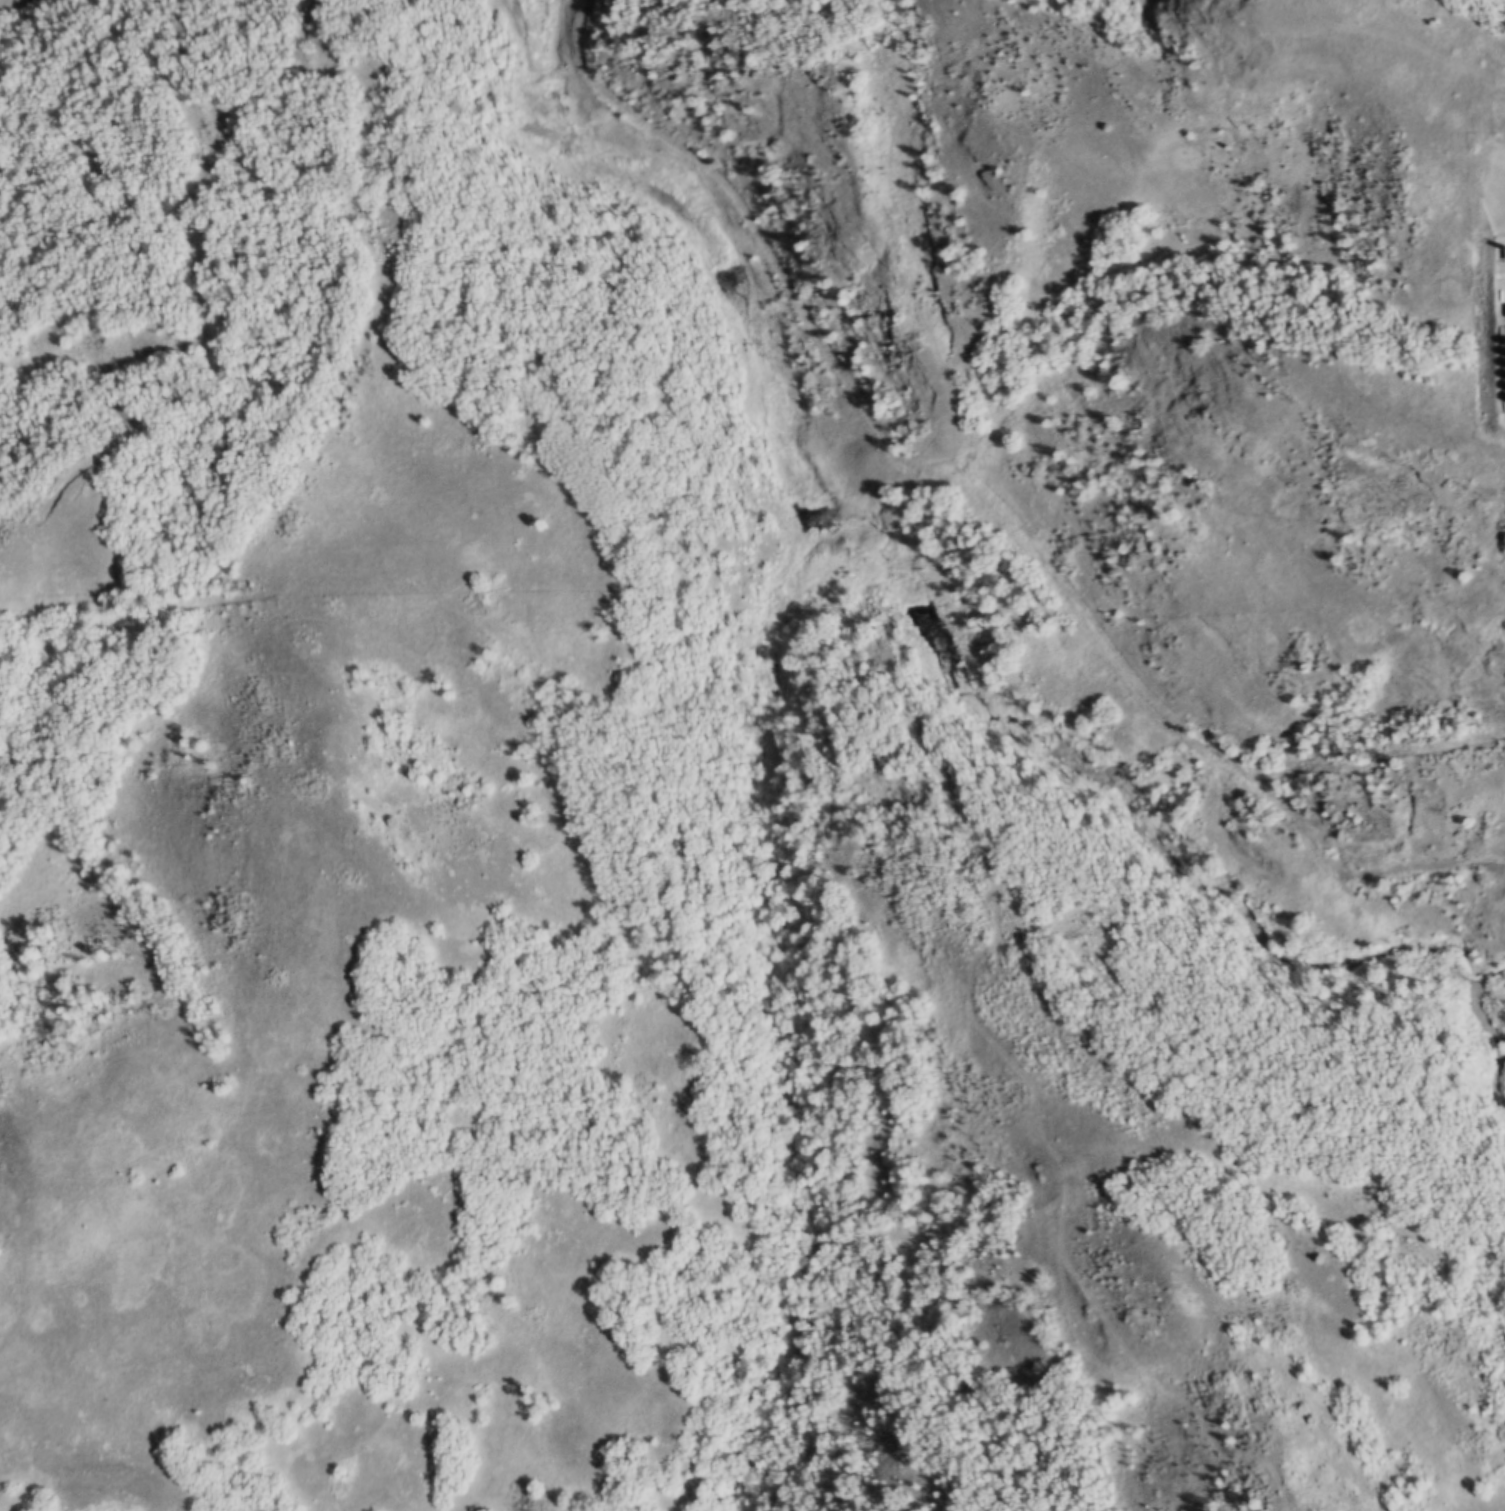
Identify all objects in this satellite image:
building: (1503, 355)
storage tank: (1503, 355)
building: (1504, 368)
storage tank: (1504, 368)
building: (1504, 380)
storage tank: (1504, 380)
building: (1504, 392)
storage tank: (1504, 392)
building: (1504, 405)
storage tank: (1504, 405)
road: (1229, 1361)

